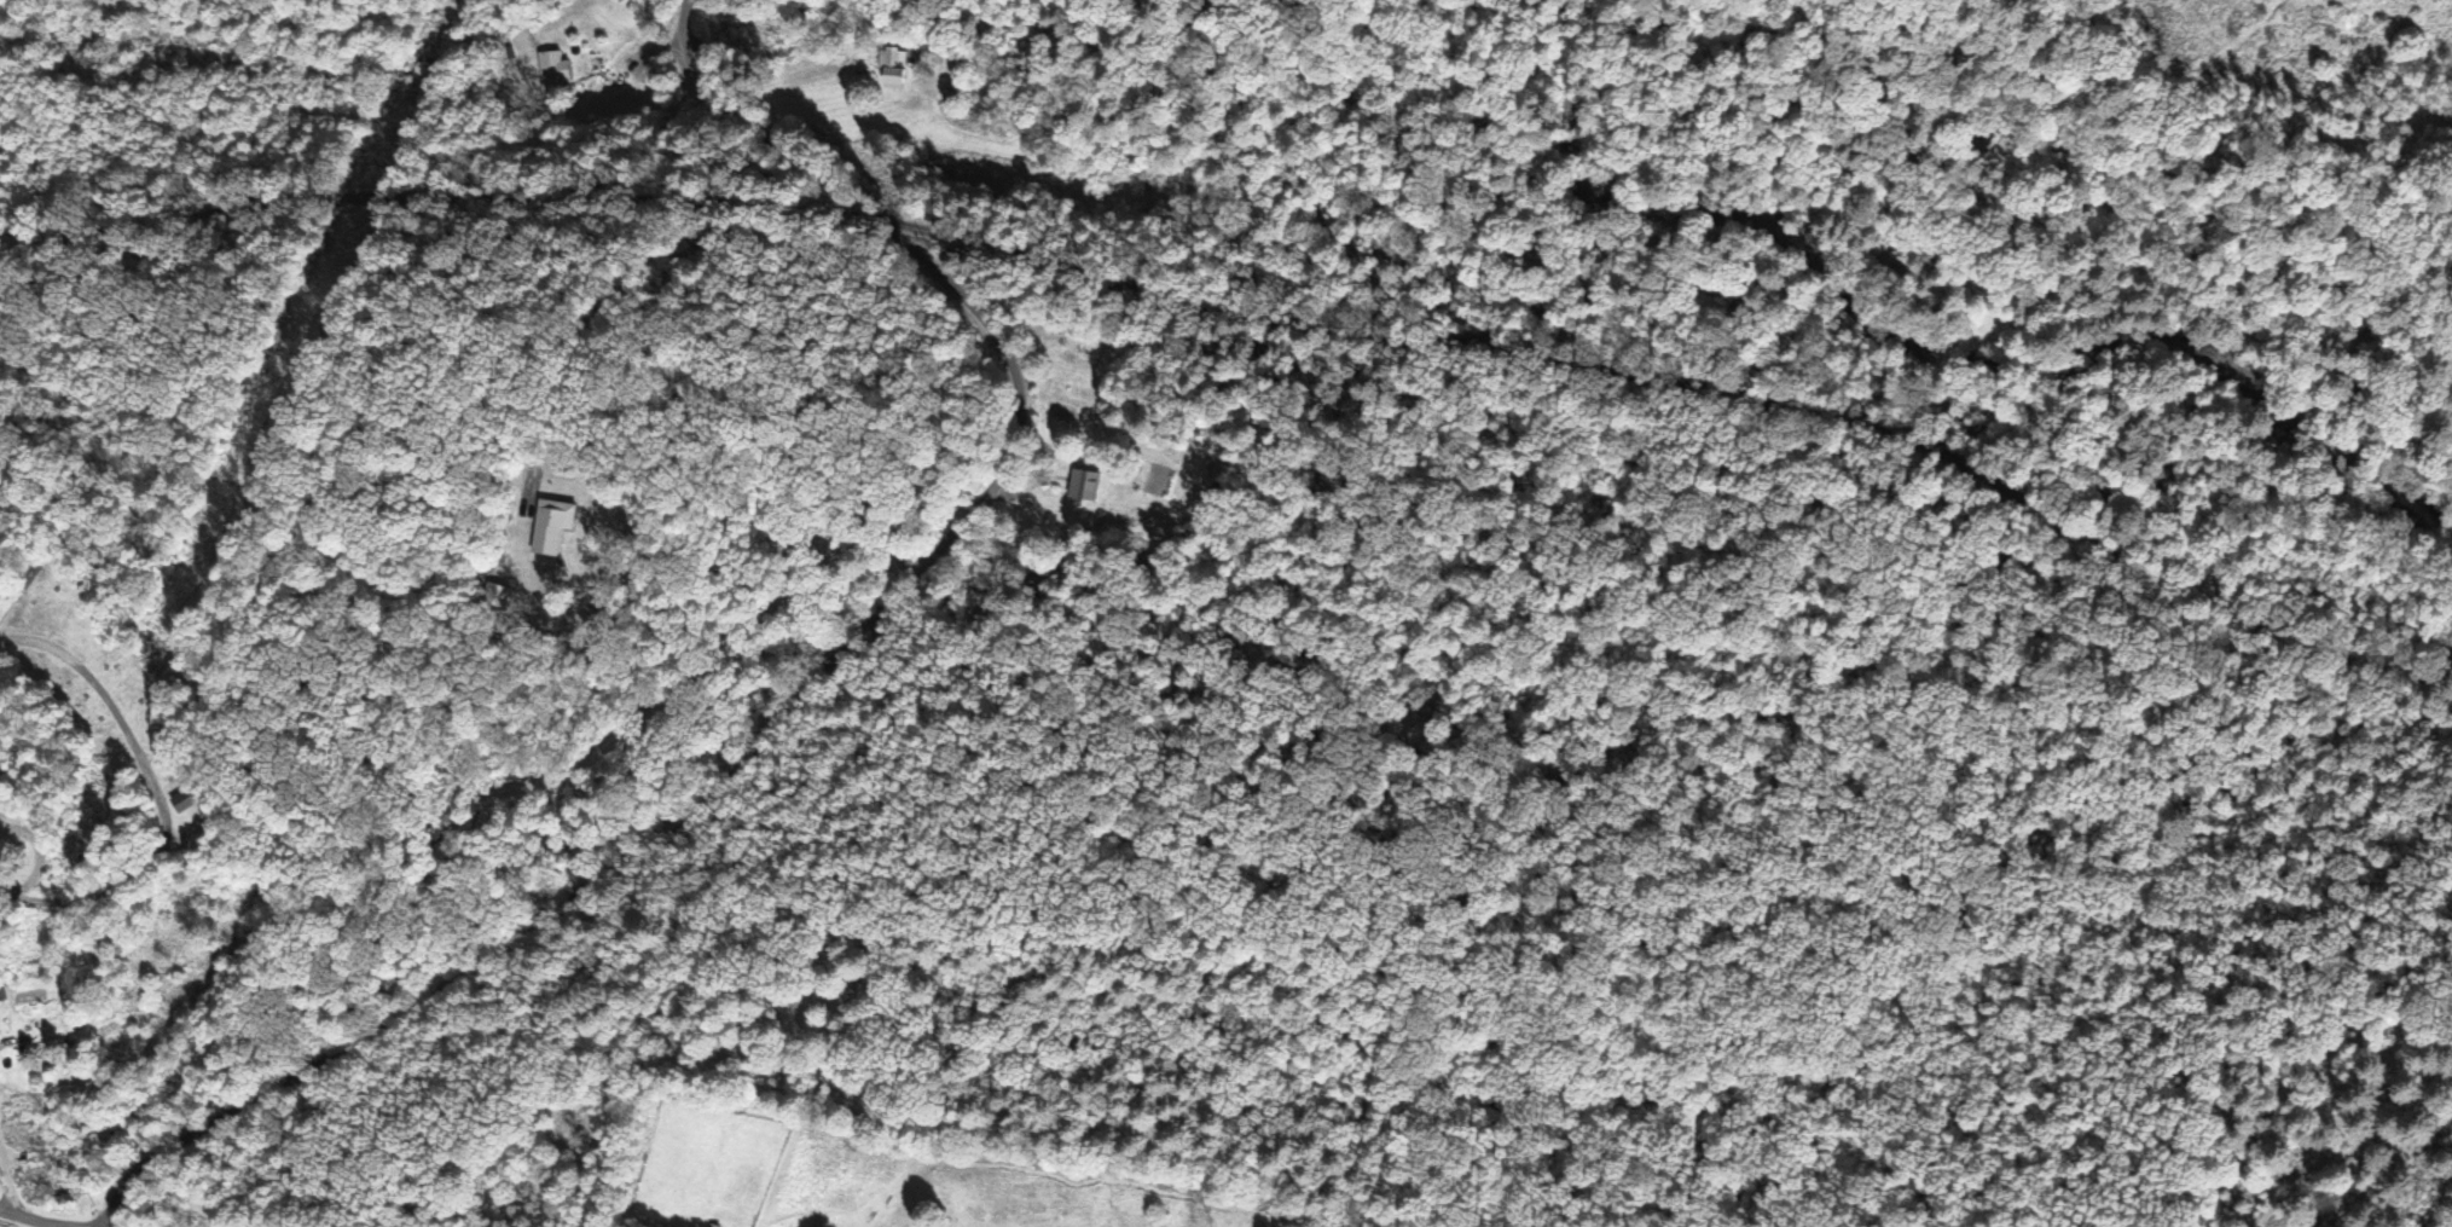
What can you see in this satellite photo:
road: (679, 35)
building: (552, 68)
building: (891, 70)
railway: (1250, 316)
building: (1084, 487)
road: (787, 702)
road: (147, 794)
building: (186, 799)
building: (40, 1030)
road: (36, 1217)

